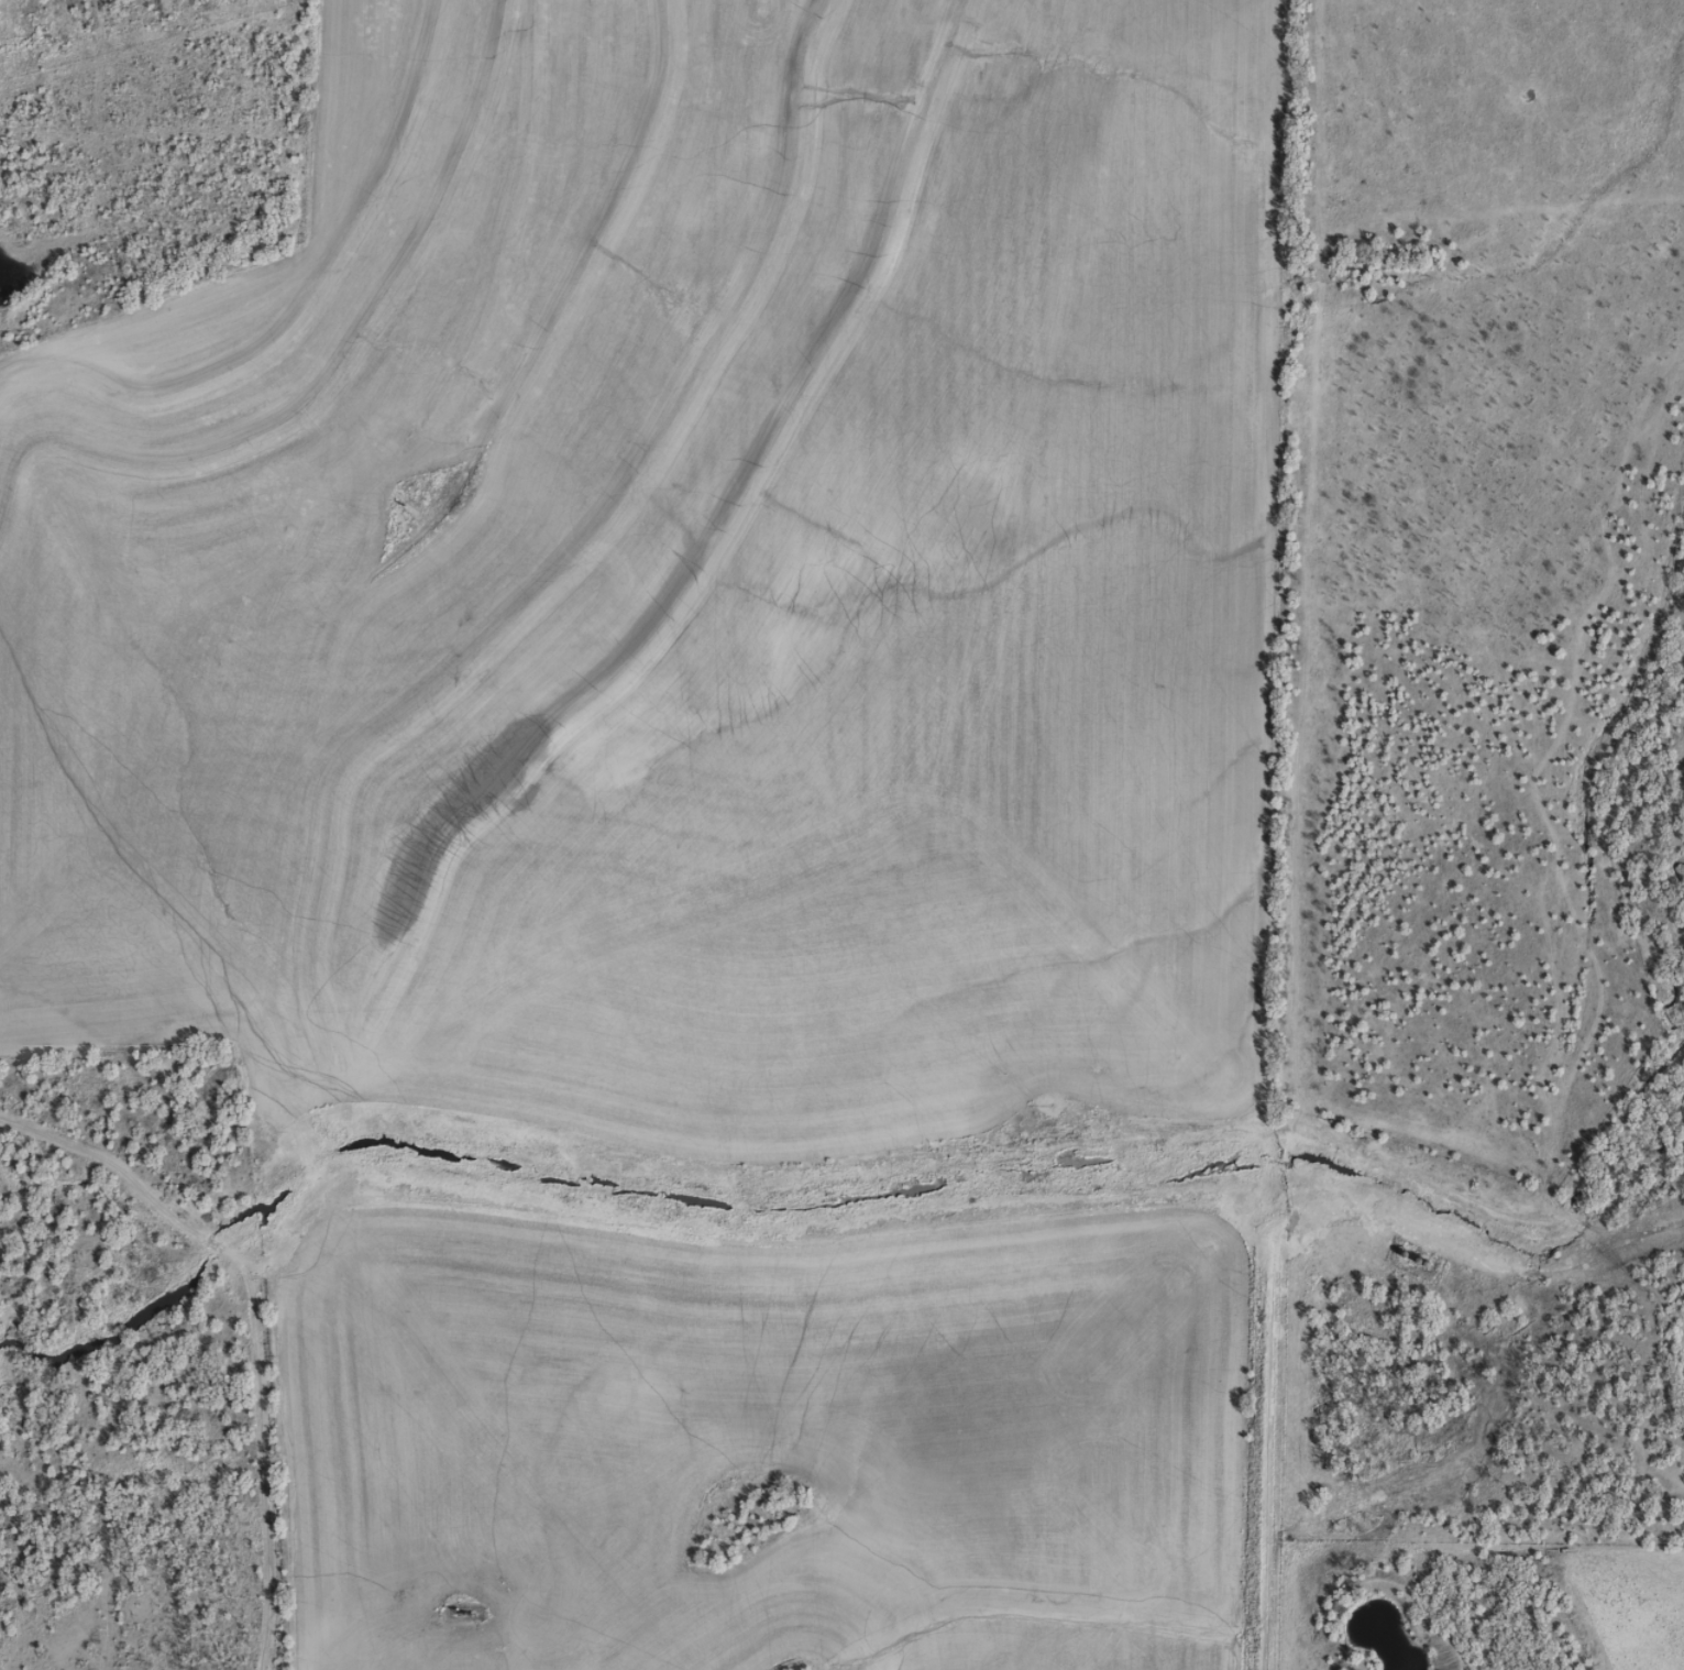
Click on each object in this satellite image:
road: (1274, 1451)

